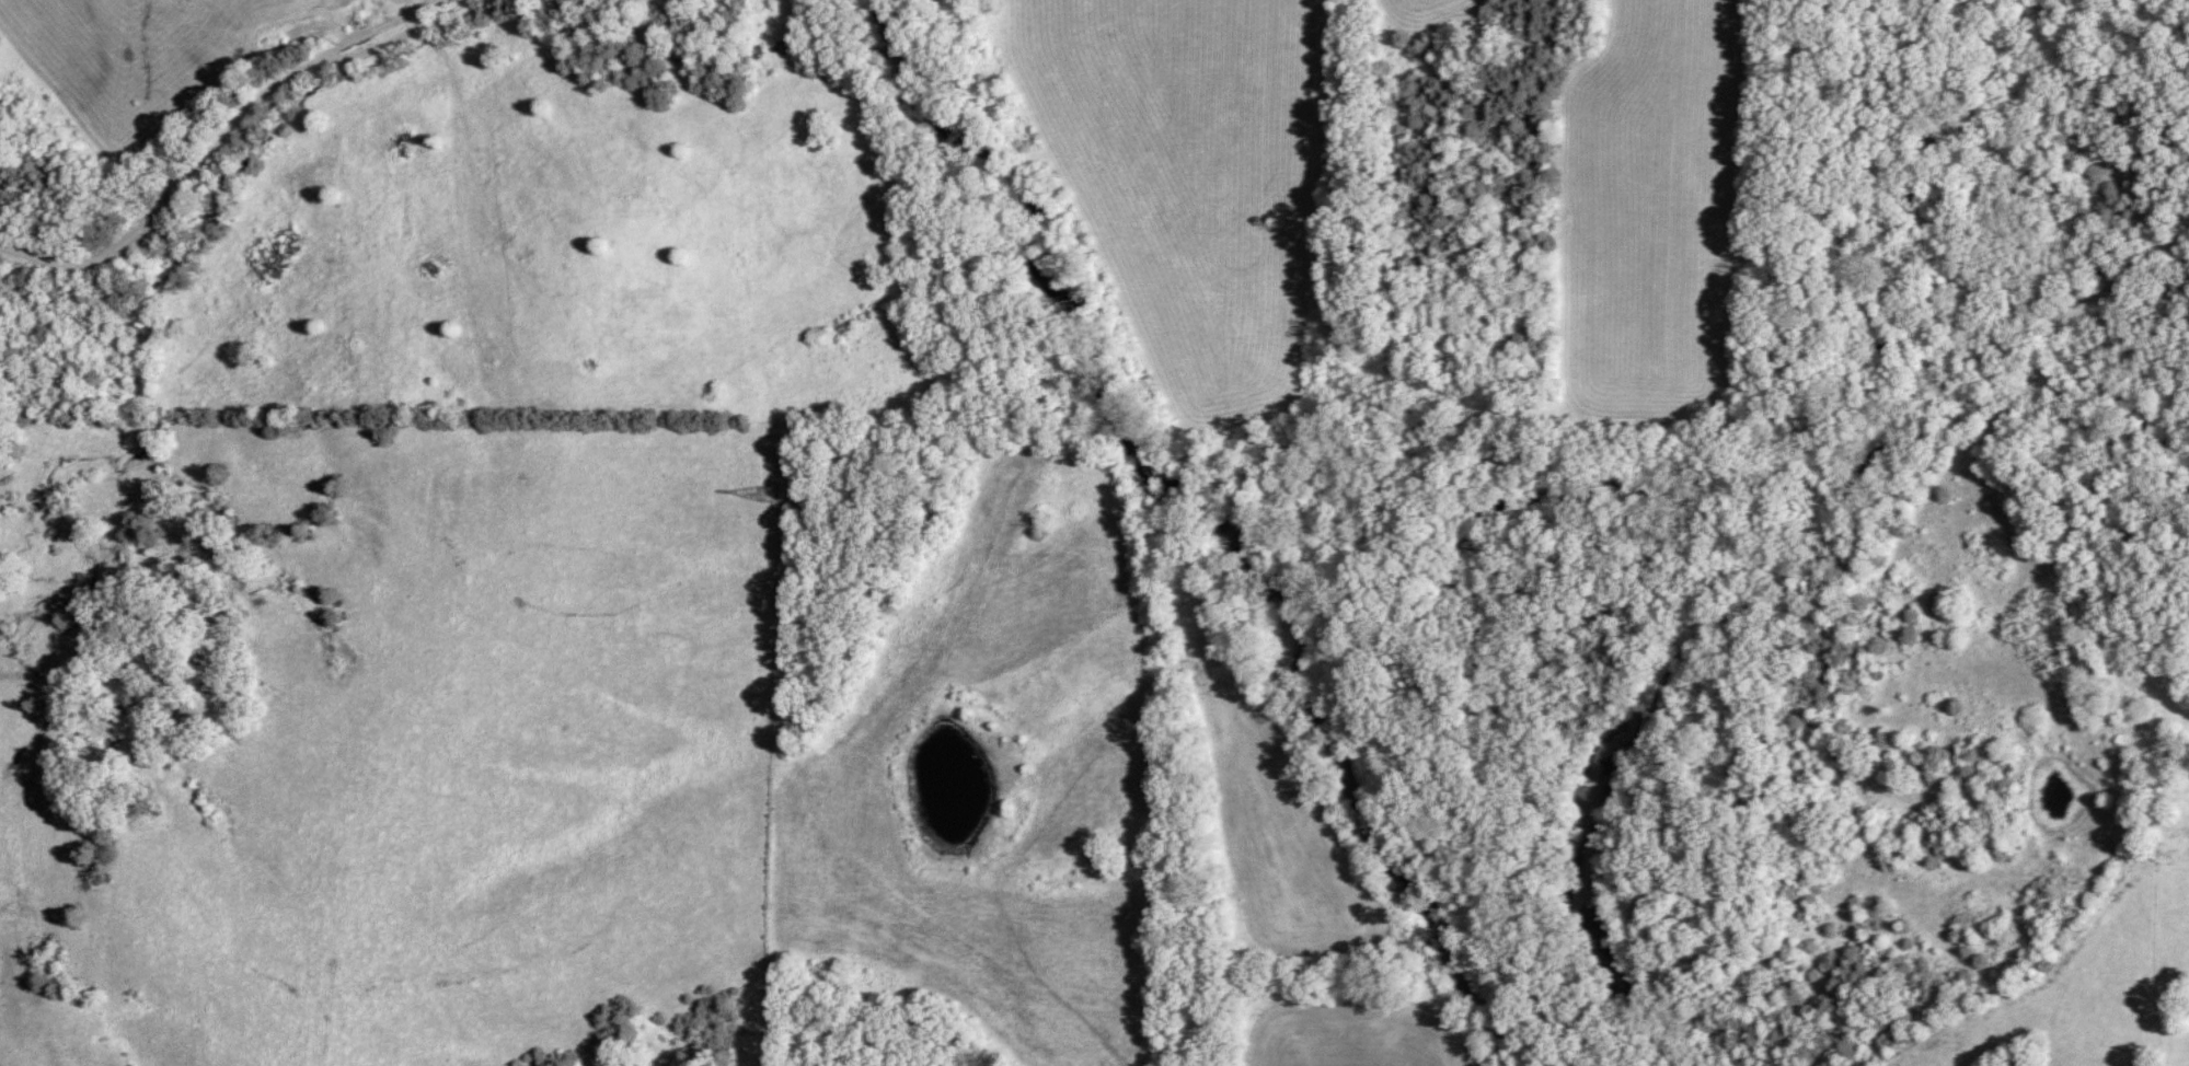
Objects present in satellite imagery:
power tower: (769, 495)

